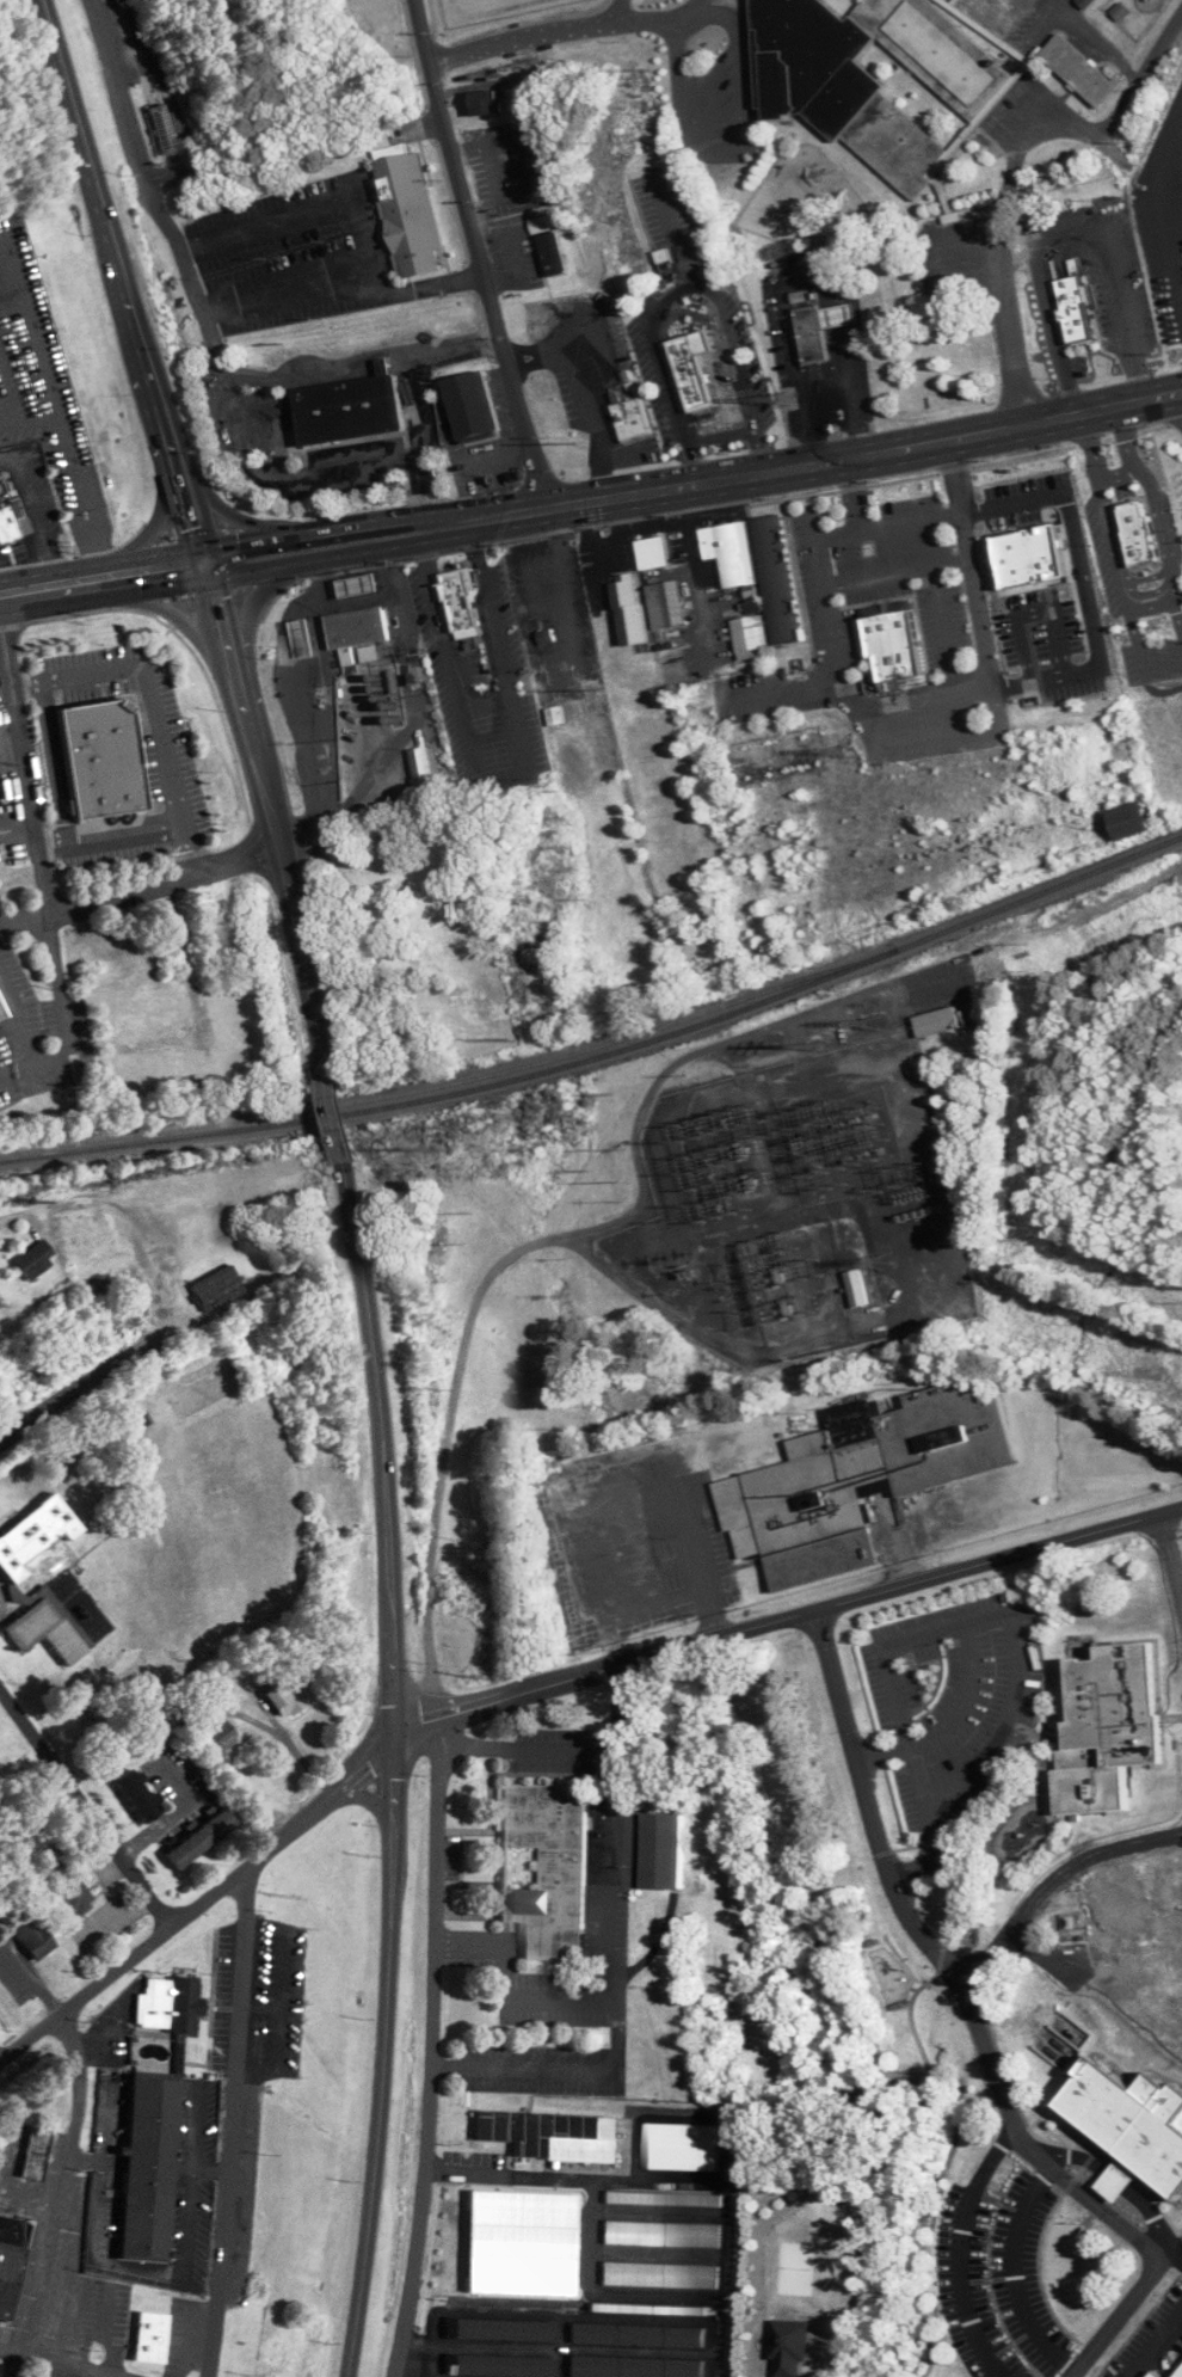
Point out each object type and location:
road: (605, 6)
road: (644, 12)
park: (376, 24)
road: (515, 35)
road: (1097, 37)
power tower: (652, 62)
building: (1079, 69)
building: (880, 75)
building: (492, 102)
road: (1176, 108)
road: (124, 115)
road: (727, 121)
building: (166, 135)
building: (531, 161)
road: (1014, 162)
building: (543, 202)
road: (301, 204)
road: (1165, 205)
building: (406, 221)
building: (544, 223)
road: (1059, 225)
road: (478, 253)
building: (555, 254)
road: (122, 280)
road: (343, 282)
road: (838, 282)
building: (16, 303)
building: (1076, 312)
building: (839, 318)
road: (844, 318)
road: (24, 323)
building: (811, 331)
road: (457, 344)
road: (792, 344)
road: (392, 351)
road: (535, 355)
building: (692, 368)
road: (739, 369)
road: (665, 373)
road: (245, 377)
road: (10, 389)
road: (854, 389)
power tower: (786, 399)
road: (1131, 400)
road: (590, 406)
building: (473, 411)
building: (353, 412)
road: (24, 418)
building: (634, 424)
road: (275, 425)
road: (961, 431)
power tower: (574, 438)
road: (10, 457)
road: (253, 461)
road: (1122, 473)
building: (1127, 485)
building: (67, 486)
road: (75, 493)
road: (31, 497)
road: (525, 511)
road: (954, 512)
road: (1159, 515)
building: (6, 523)
road: (900, 524)
building: (1137, 540)
building: (733, 552)
building: (655, 553)
building: (1048, 553)
traffic signals: (205, 560)
road: (49, 563)
road: (1116, 565)
road: (898, 571)
road: (698, 572)
parking lot: (910, 572)
road: (101, 577)
building: (782, 581)
road: (975, 583)
building: (362, 588)
road: (575, 601)
road: (1150, 604)
building: (670, 606)
building: (466, 609)
building: (634, 614)
building: (361, 631)
building: (1051, 632)
road: (947, 633)
building: (755, 634)
road: (835, 639)
building: (308, 641)
building: (898, 641)
road: (5, 672)
road: (26, 682)
power tower: (601, 687)
road: (149, 693)
building: (560, 717)
power tower: (852, 748)
building: (781, 757)
road: (53, 761)
building: (99, 762)
building: (430, 770)
building: (0, 804)
road: (271, 810)
building: (1140, 822)
road: (18, 829)
road: (124, 833)
road: (51, 844)
road: (191, 849)
road: (41, 865)
road: (166, 885)
road: (25, 922)
building: (2, 1015)
building: (941, 1022)
power tower: (875, 1025)
power tower: (511, 1032)
road: (24, 1038)
power tower: (819, 1045)
railway: (605, 1055)
railway: (447, 1083)
road: (337, 1112)
power tower: (616, 1179)
power substation: (801, 1209)
road: (125, 1210)
power tower: (463, 1211)
road: (5, 1214)
road: (571, 1236)
building: (36, 1259)
power tower: (885, 1263)
building: (218, 1288)
building: (860, 1289)
power tower: (1170, 1372)
road: (86, 1381)
building: (863, 1479)
road: (1170, 1566)
building: (39, 1581)
road: (787, 1619)
road: (1012, 1634)
building: (290, 1696)
road: (949, 1718)
building: (1114, 1727)
building: (222, 1733)
road: (290, 1740)
road: (529, 1745)
road: (394, 1769)
building: (137, 1795)
road: (367, 1800)
road: (183, 1810)
road: (87, 1811)
building: (203, 1837)
building: (669, 1850)
building: (547, 1867)
road: (1053, 1884)
building: (74, 1897)
road: (202, 1904)
building: (32, 1934)
road: (554, 1946)
road: (601, 1946)
road: (469, 1947)
road: (510, 1947)
road: (611, 1957)
road: (943, 1963)
road: (535, 1998)
building: (171, 2003)
building: (1139, 2041)
road: (435, 2047)
road: (229, 2120)
road: (195, 2123)
building: (552, 2135)
building: (684, 2146)
building: (37, 2152)
road: (79, 2155)
building: (136, 2162)
road: (209, 2167)
road: (49, 2194)
building: (664, 2199)
road: (93, 2211)
road: (189, 2218)
building: (663, 2234)
building: (513, 2248)
road: (961, 2249)
road: (1175, 2258)
building: (11, 2261)
building: (661, 2274)
road: (1015, 2274)
building: (651, 2309)
road: (1120, 2315)
building: (504, 2329)
building: (639, 2335)
building: (152, 2338)
road: (1157, 2345)
road: (63, 2361)
building: (504, 2366)
building: (636, 2367)
road: (122, 2376)

